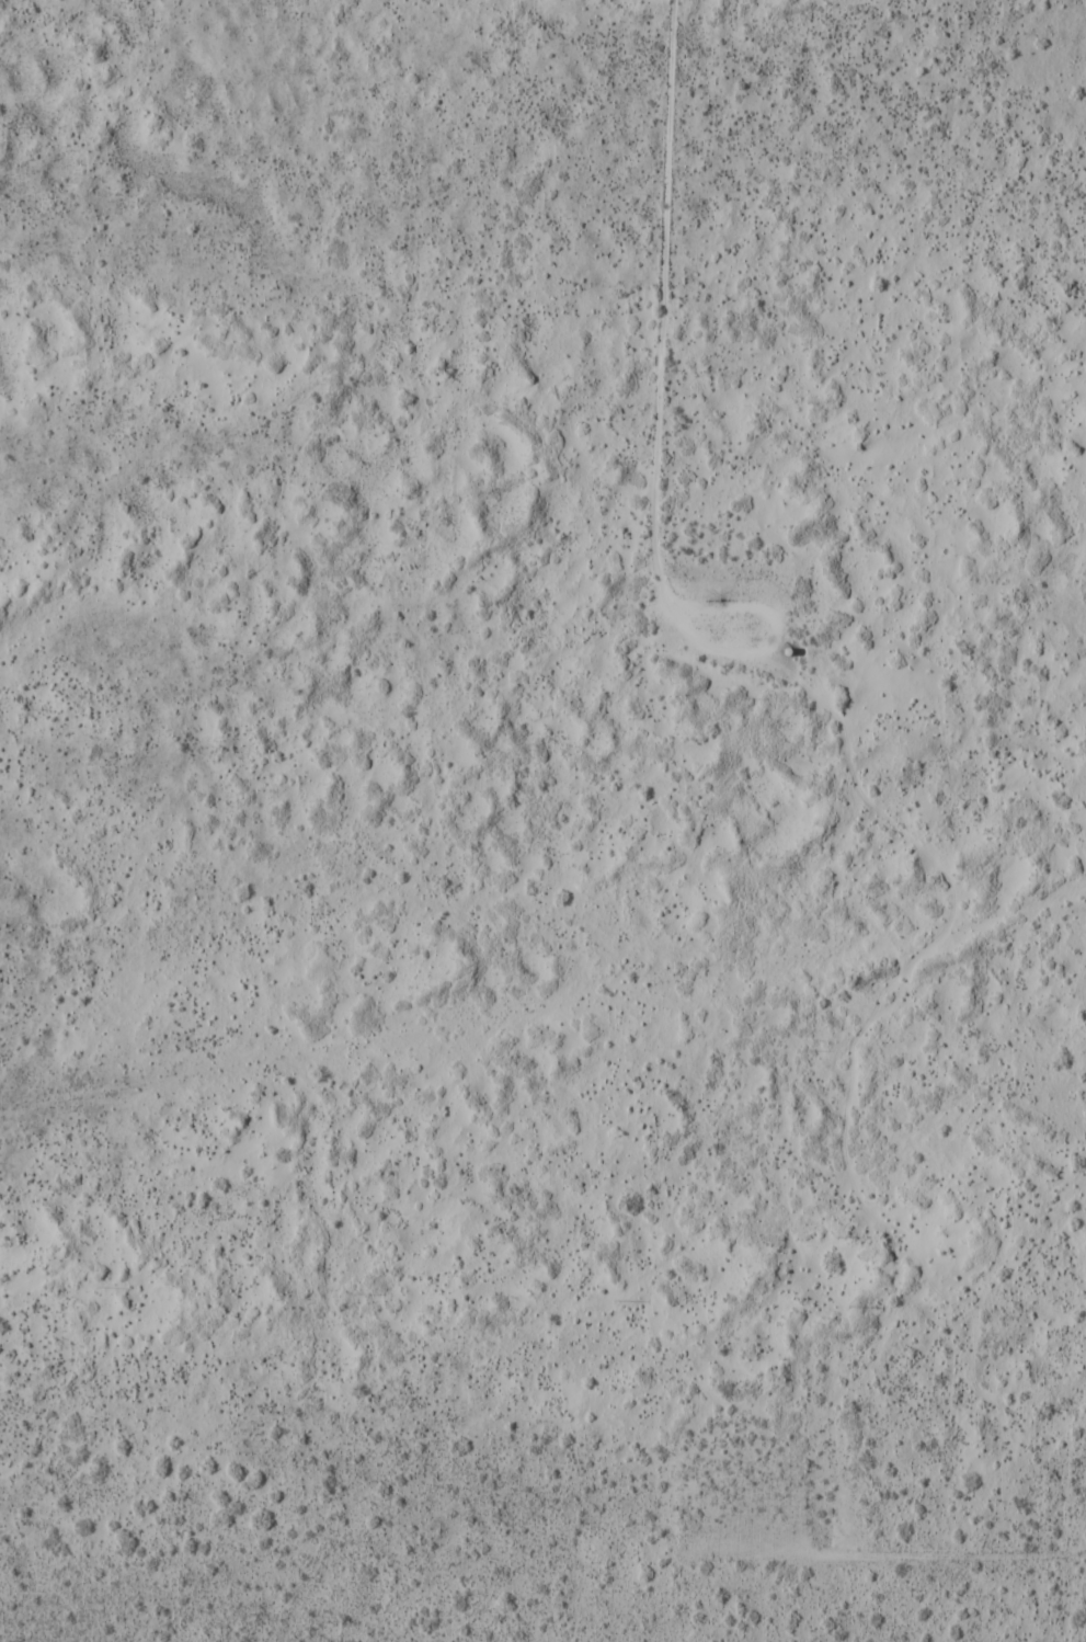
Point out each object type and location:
road: (663, 309)

